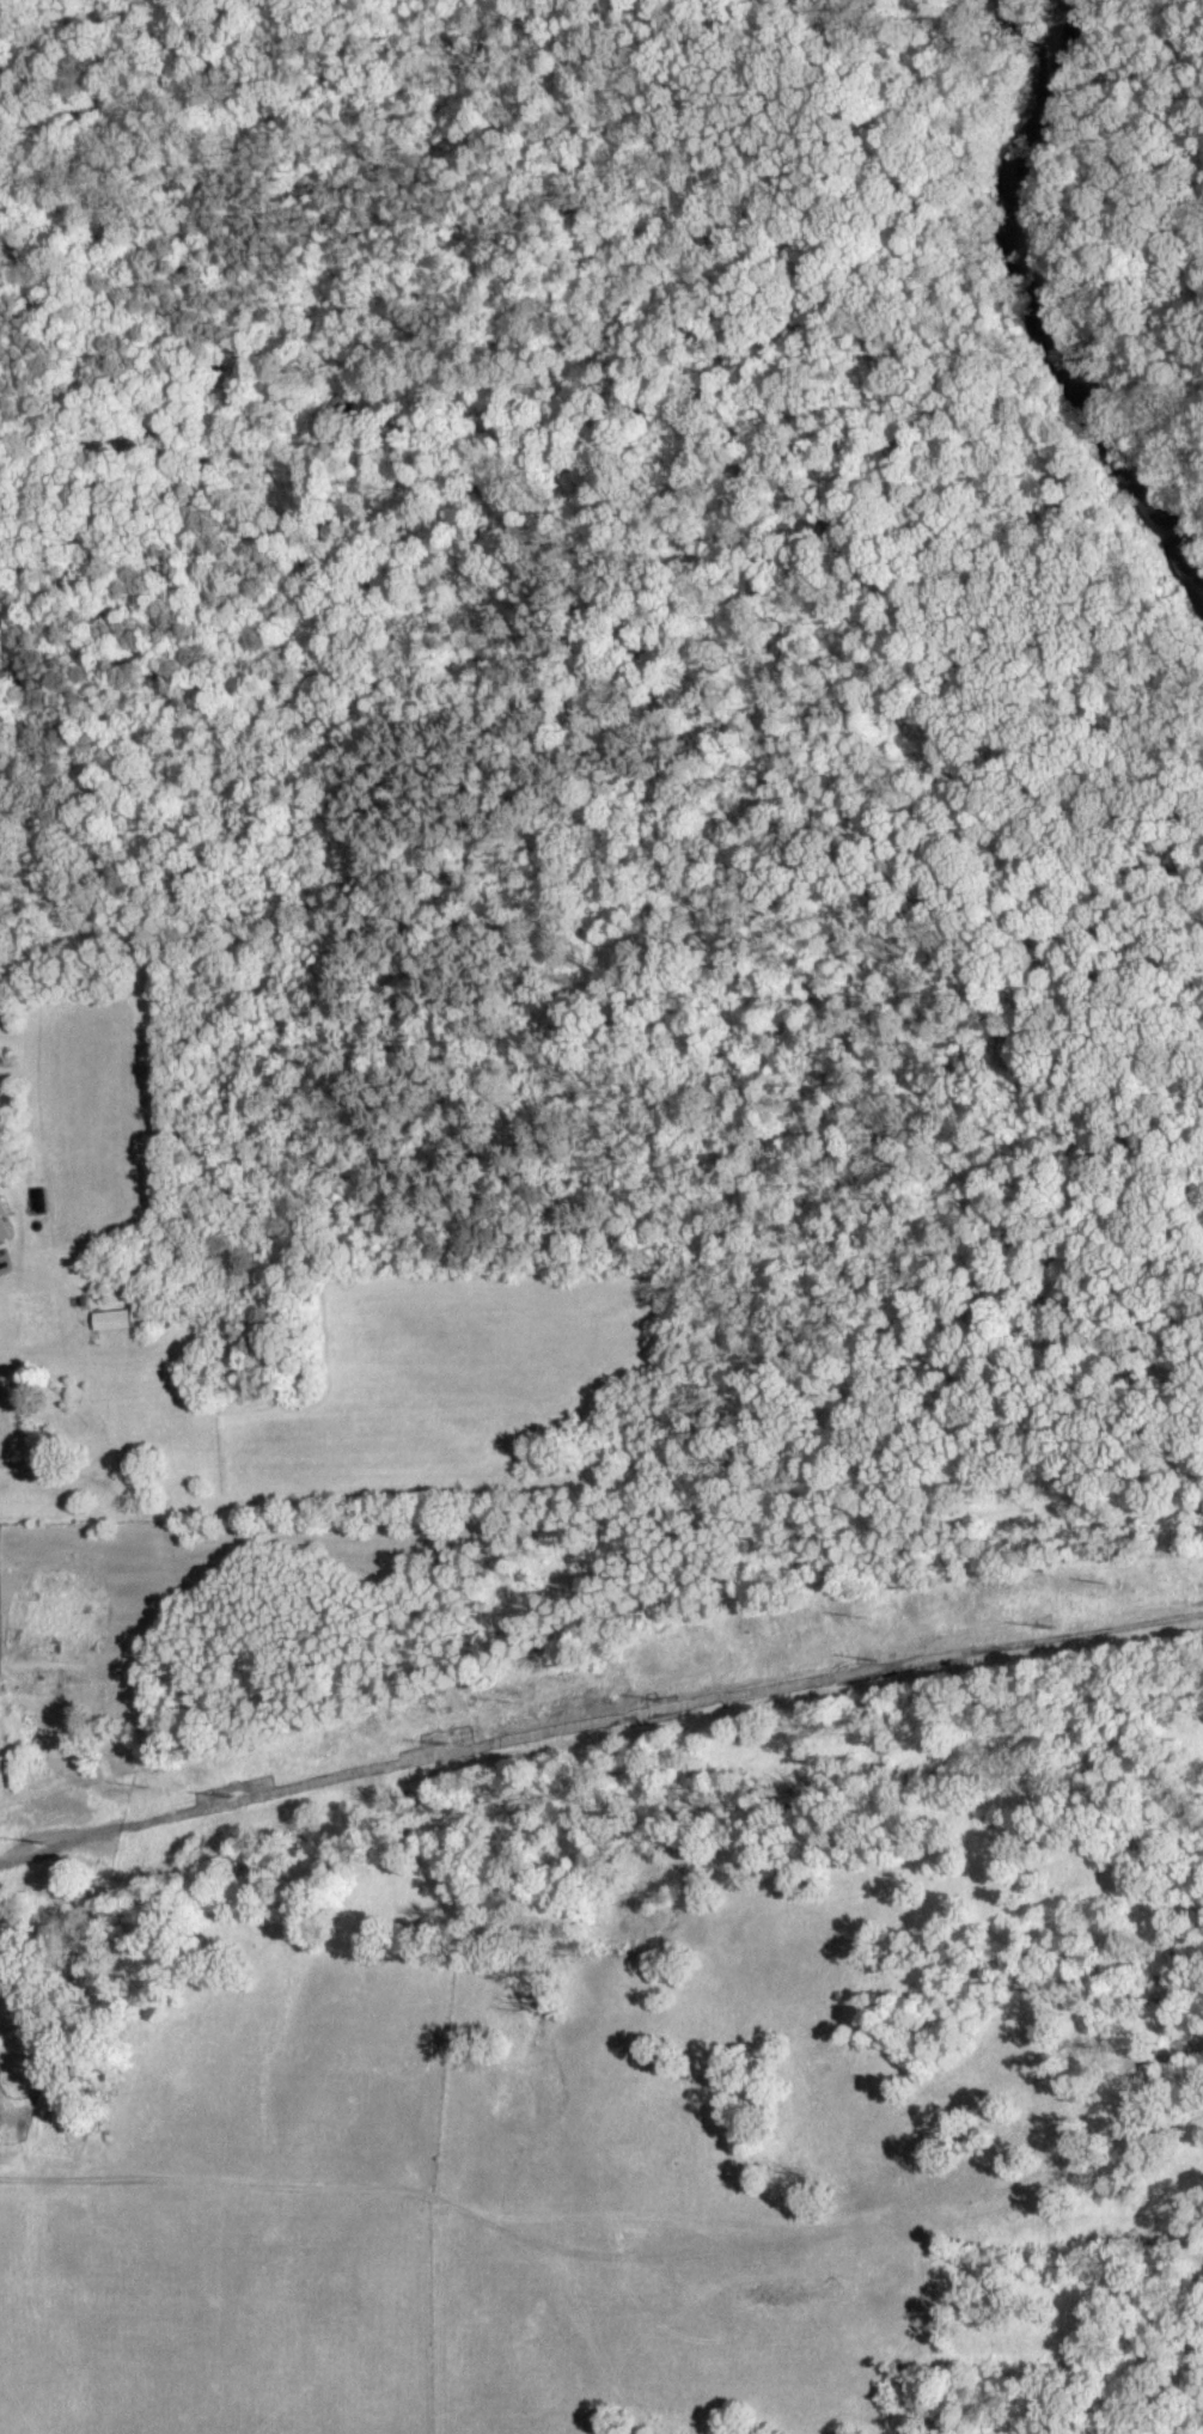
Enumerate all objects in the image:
building: (0, 1210)
building: (2, 1232)
building: (109, 1319)

